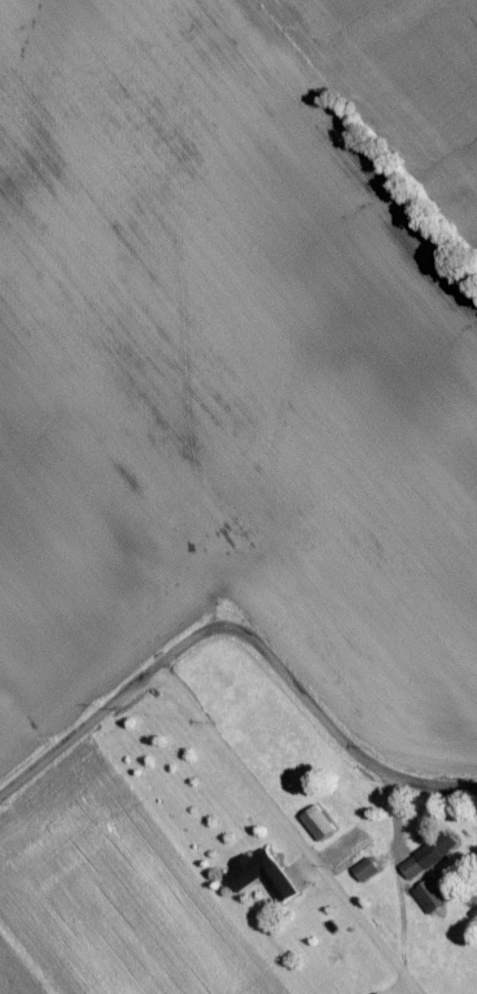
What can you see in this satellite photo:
road: (111, 709)
road: (336, 744)
building: (319, 829)
road: (279, 835)
building: (430, 862)
building: (253, 876)
building: (366, 876)
building: (428, 903)

